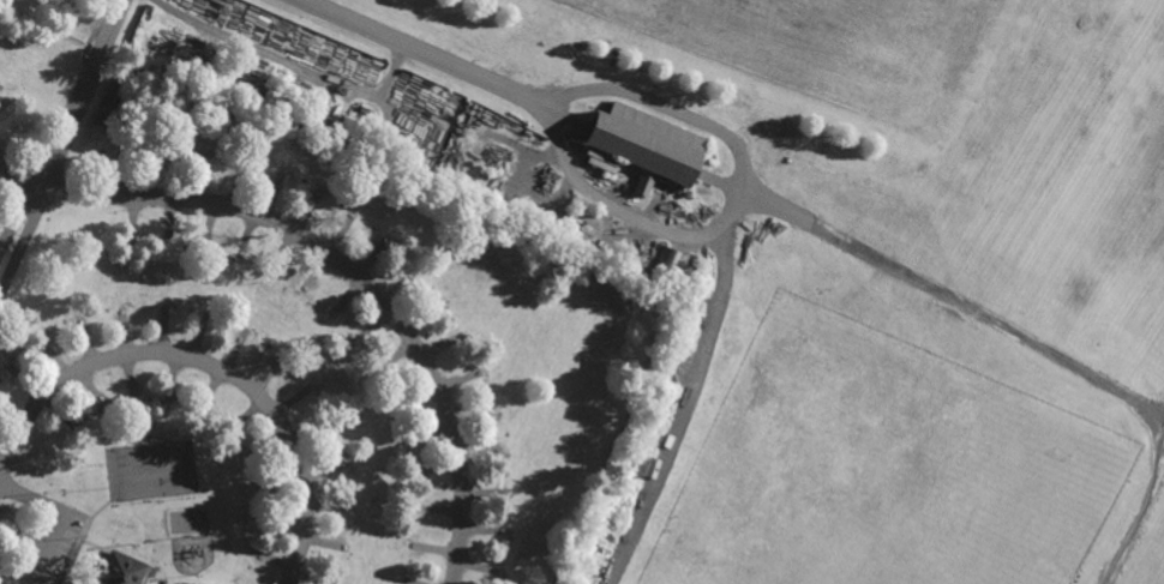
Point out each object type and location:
park: (833, 44)
road: (420, 53)
road: (690, 116)
road: (58, 136)
building: (644, 146)
road: (601, 200)
road: (338, 260)
park: (582, 291)
road: (952, 303)
road: (209, 367)
building: (133, 390)
road: (680, 409)
park: (893, 477)
road: (53, 530)
building: (120, 570)

